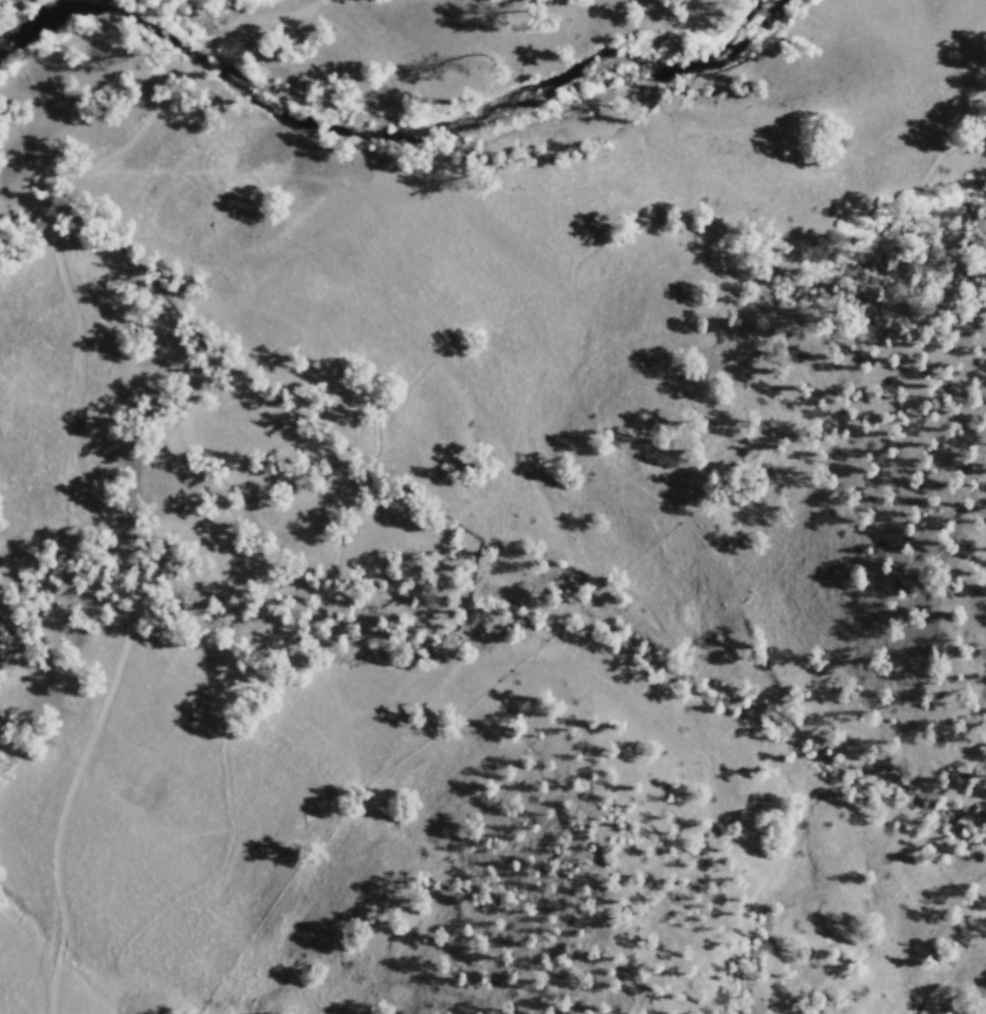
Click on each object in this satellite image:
river: (44, 25)
road: (81, 445)

